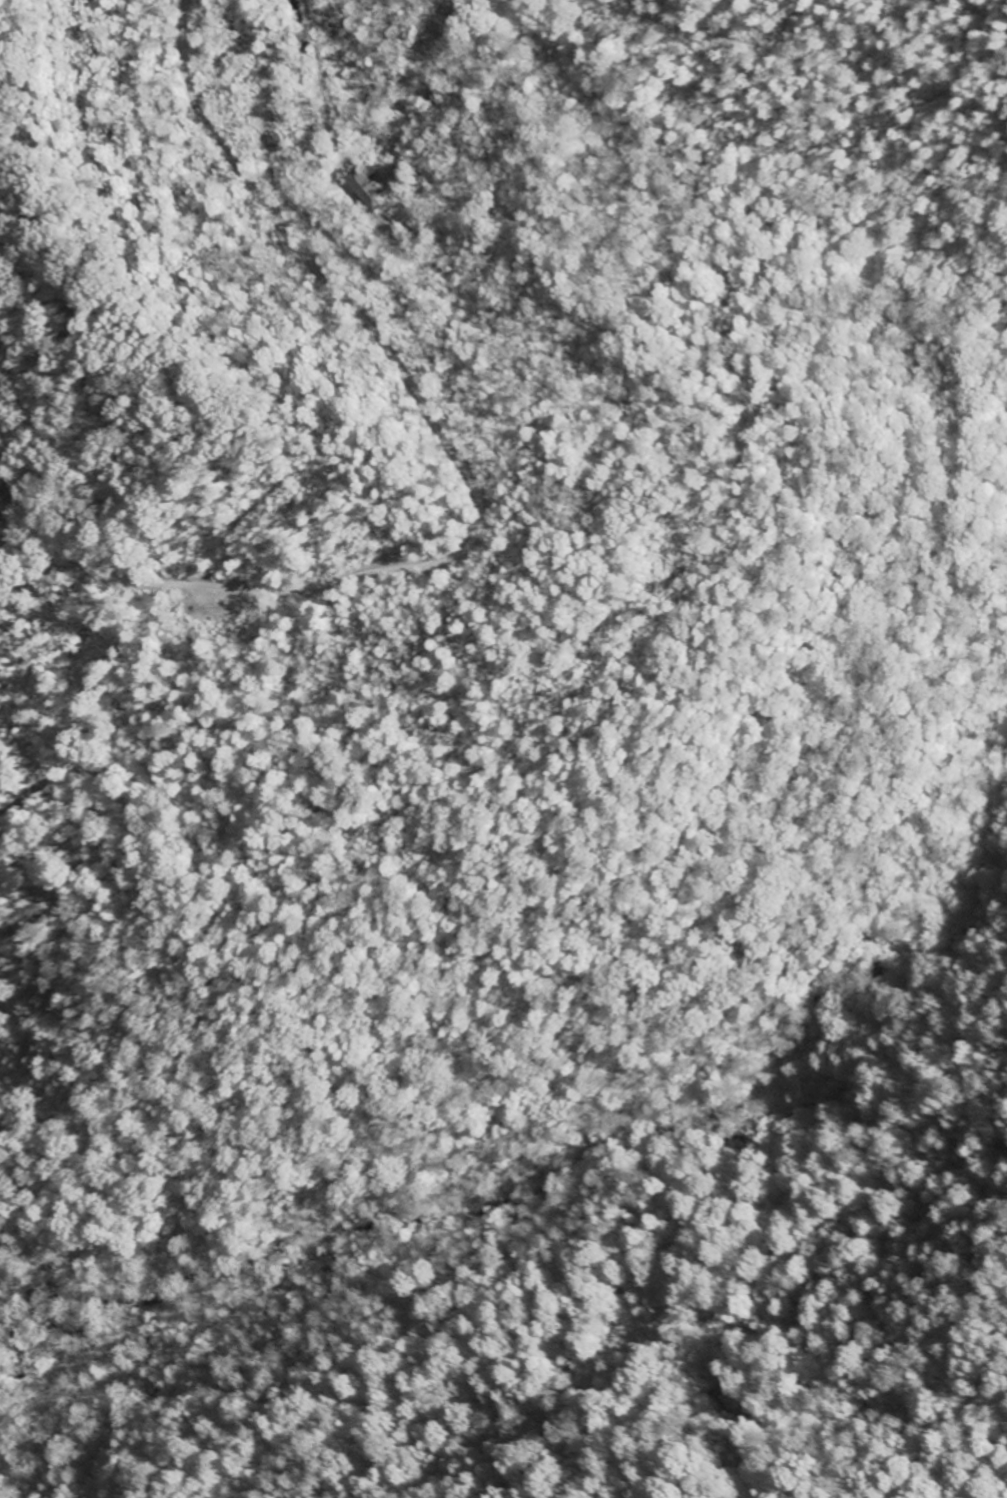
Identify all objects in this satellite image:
road: (318, 79)
road: (473, 490)

